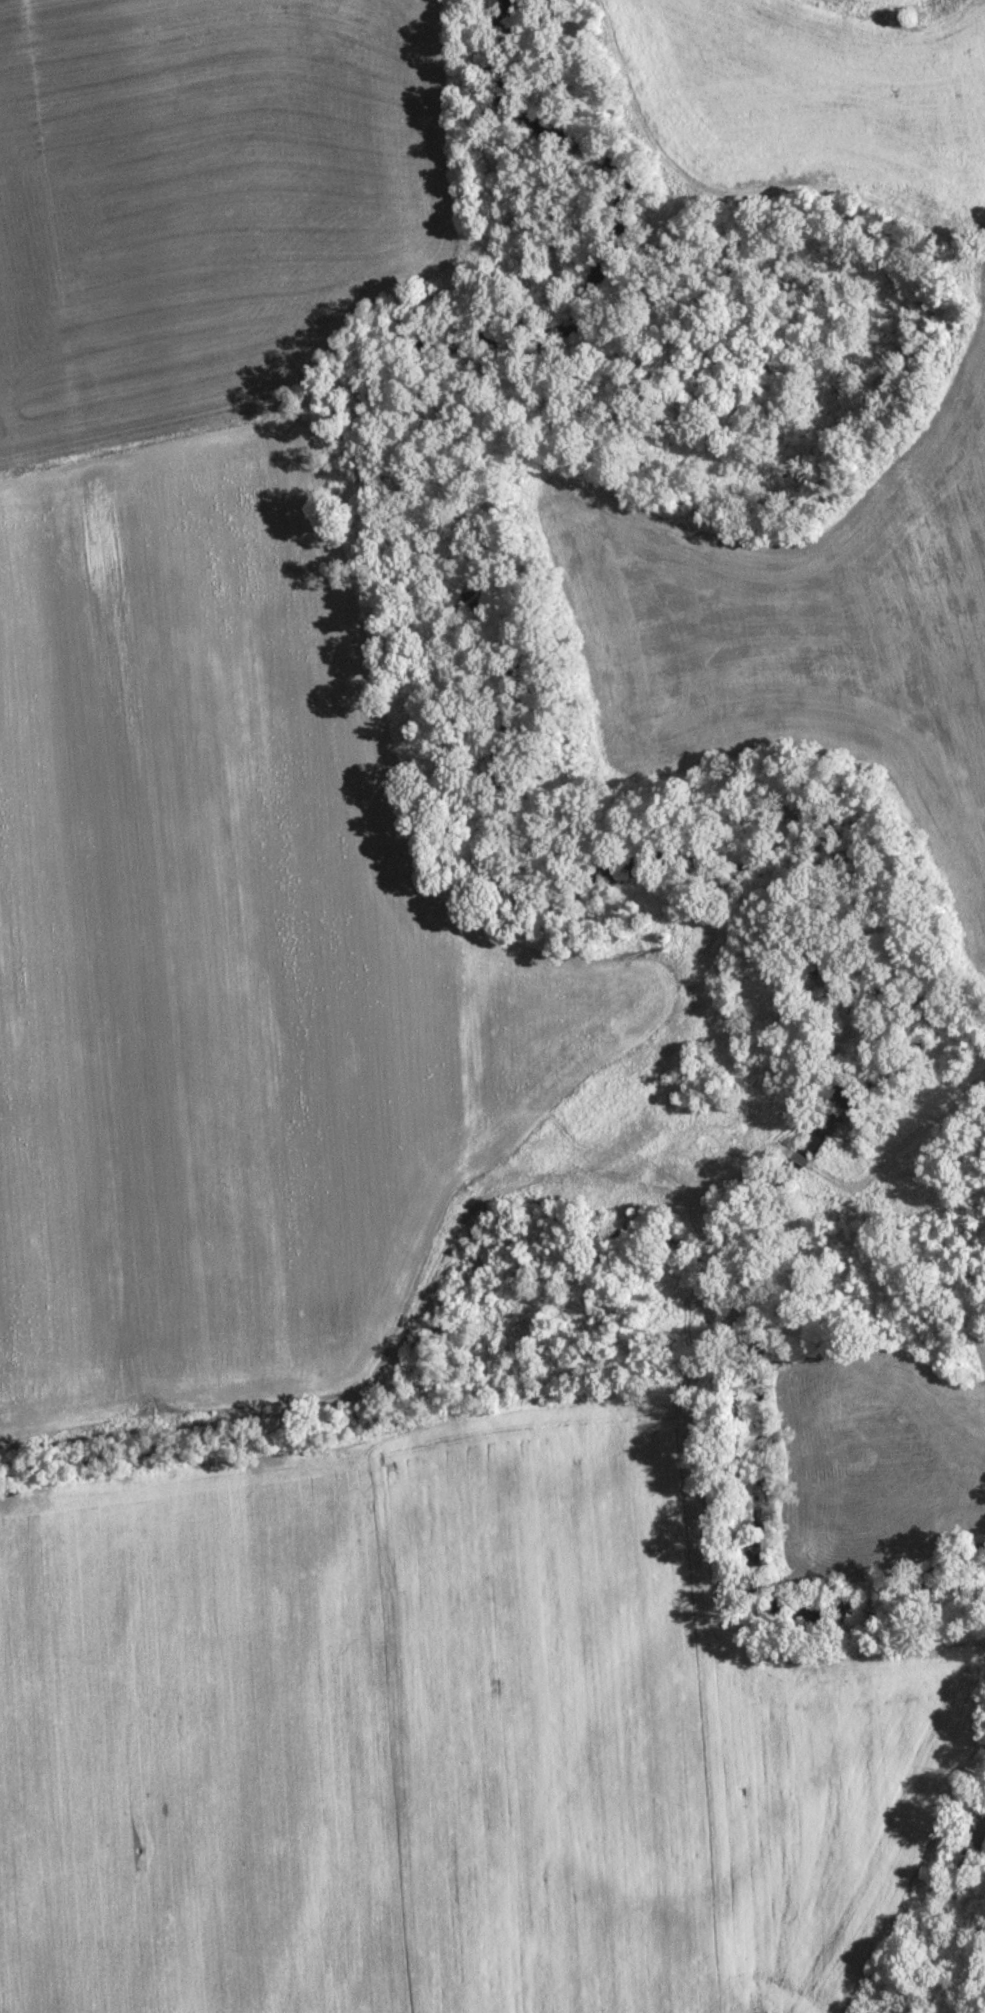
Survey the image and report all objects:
road: (978, 618)
road: (480, 1212)

